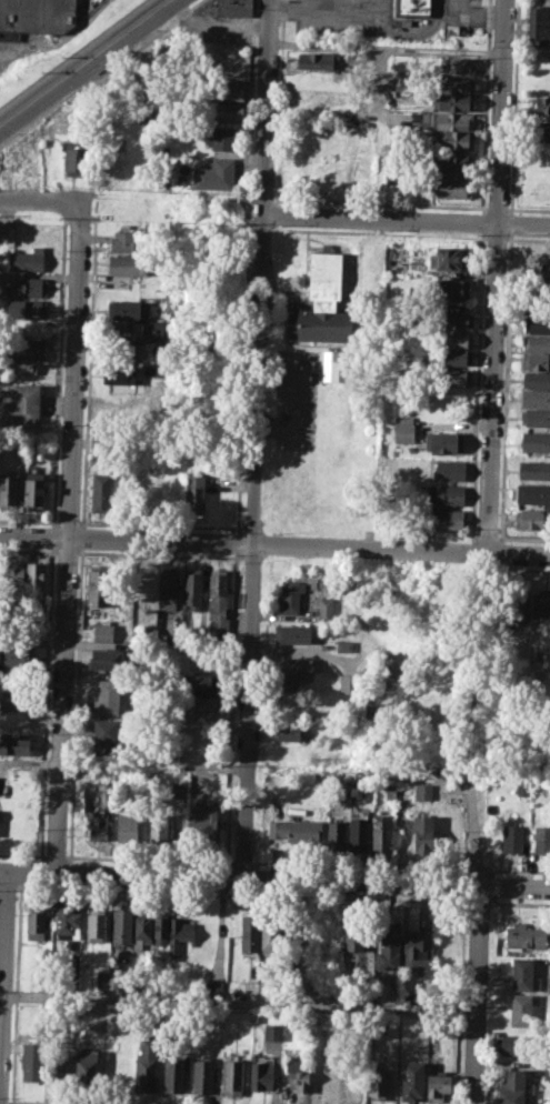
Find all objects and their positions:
building: (234, 8)
road: (296, 8)
building: (413, 8)
road: (352, 13)
road: (473, 14)
building: (38, 16)
parking lot: (460, 16)
parking lot: (342, 18)
road: (216, 23)
building: (539, 26)
road: (409, 49)
building: (313, 60)
road: (83, 61)
building: (458, 64)
building: (316, 79)
building: (456, 84)
building: (230, 90)
building: (452, 101)
building: (540, 104)
road: (266, 107)
building: (229, 111)
building: (441, 120)
building: (541, 130)
building: (223, 138)
building: (456, 139)
building: (74, 157)
building: (456, 163)
building: (31, 167)
building: (214, 174)
building: (394, 178)
building: (452, 188)
road: (42, 199)
road: (406, 220)
building: (10, 234)
building: (127, 239)
building: (450, 258)
building: (27, 259)
building: (130, 264)
building: (538, 272)
road: (496, 275)
building: (326, 277)
building: (27, 287)
building: (451, 288)
building: (159, 292)
building: (26, 308)
building: (127, 308)
building: (456, 320)
building: (323, 323)
building: (536, 324)
building: (147, 330)
building: (454, 339)
building: (536, 343)
building: (26, 348)
building: (123, 351)
building: (453, 357)
building: (536, 360)
building: (331, 364)
building: (20, 365)
building: (119, 374)
building: (453, 378)
building: (536, 379)
building: (536, 398)
parking lot: (296, 400)
building: (24, 403)
building: (536, 416)
building: (404, 428)
building: (446, 441)
building: (536, 441)
building: (450, 469)
building: (533, 470)
building: (9, 489)
building: (101, 489)
building: (34, 490)
building: (196, 492)
building: (532, 493)
building: (447, 494)
building: (447, 518)
building: (532, 518)
road: (66, 543)
road: (274, 545)
road: (250, 546)
building: (13, 579)
building: (34, 580)
building: (99, 584)
building: (168, 585)
building: (193, 588)
building: (291, 594)
building: (218, 603)
building: (517, 603)
building: (541, 604)
building: (326, 610)
building: (103, 632)
building: (292, 633)
building: (343, 646)
building: (18, 655)
building: (107, 658)
building: (294, 668)
building: (201, 683)
building: (347, 683)
building: (107, 696)
building: (14, 700)
building: (198, 704)
building: (287, 731)
building: (106, 734)
building: (14, 743)
building: (180, 789)
building: (423, 790)
building: (97, 809)
building: (202, 819)
building: (126, 826)
building: (159, 829)
building: (297, 830)
building: (423, 832)
building: (380, 833)
building: (358, 834)
building: (336, 835)
building: (513, 840)
building: (542, 840)
road: (274, 880)
building: (34, 922)
building: (66, 922)
building: (97, 924)
building: (121, 924)
building: (160, 927)
building: (142, 929)
building: (180, 935)
building: (249, 935)
building: (354, 935)
building: (523, 935)
building: (270, 936)
road: (476, 939)
building: (388, 946)
building: (418, 952)
road: (3, 963)
building: (524, 975)
building: (101, 978)
building: (113, 980)
building: (213, 987)
road: (1, 994)
road: (238, 1003)
building: (520, 1010)
building: (257, 1017)
building: (273, 1032)
building: (516, 1043)
building: (32, 1061)
building: (86, 1065)
building: (146, 1065)
building: (328, 1068)
building: (60, 1070)
building: (173, 1073)
building: (299, 1074)
building: (232, 1075)
building: (262, 1075)
building: (201, 1076)
building: (413, 1078)
building: (378, 1084)
building: (439, 1086)
building: (511, 1086)

